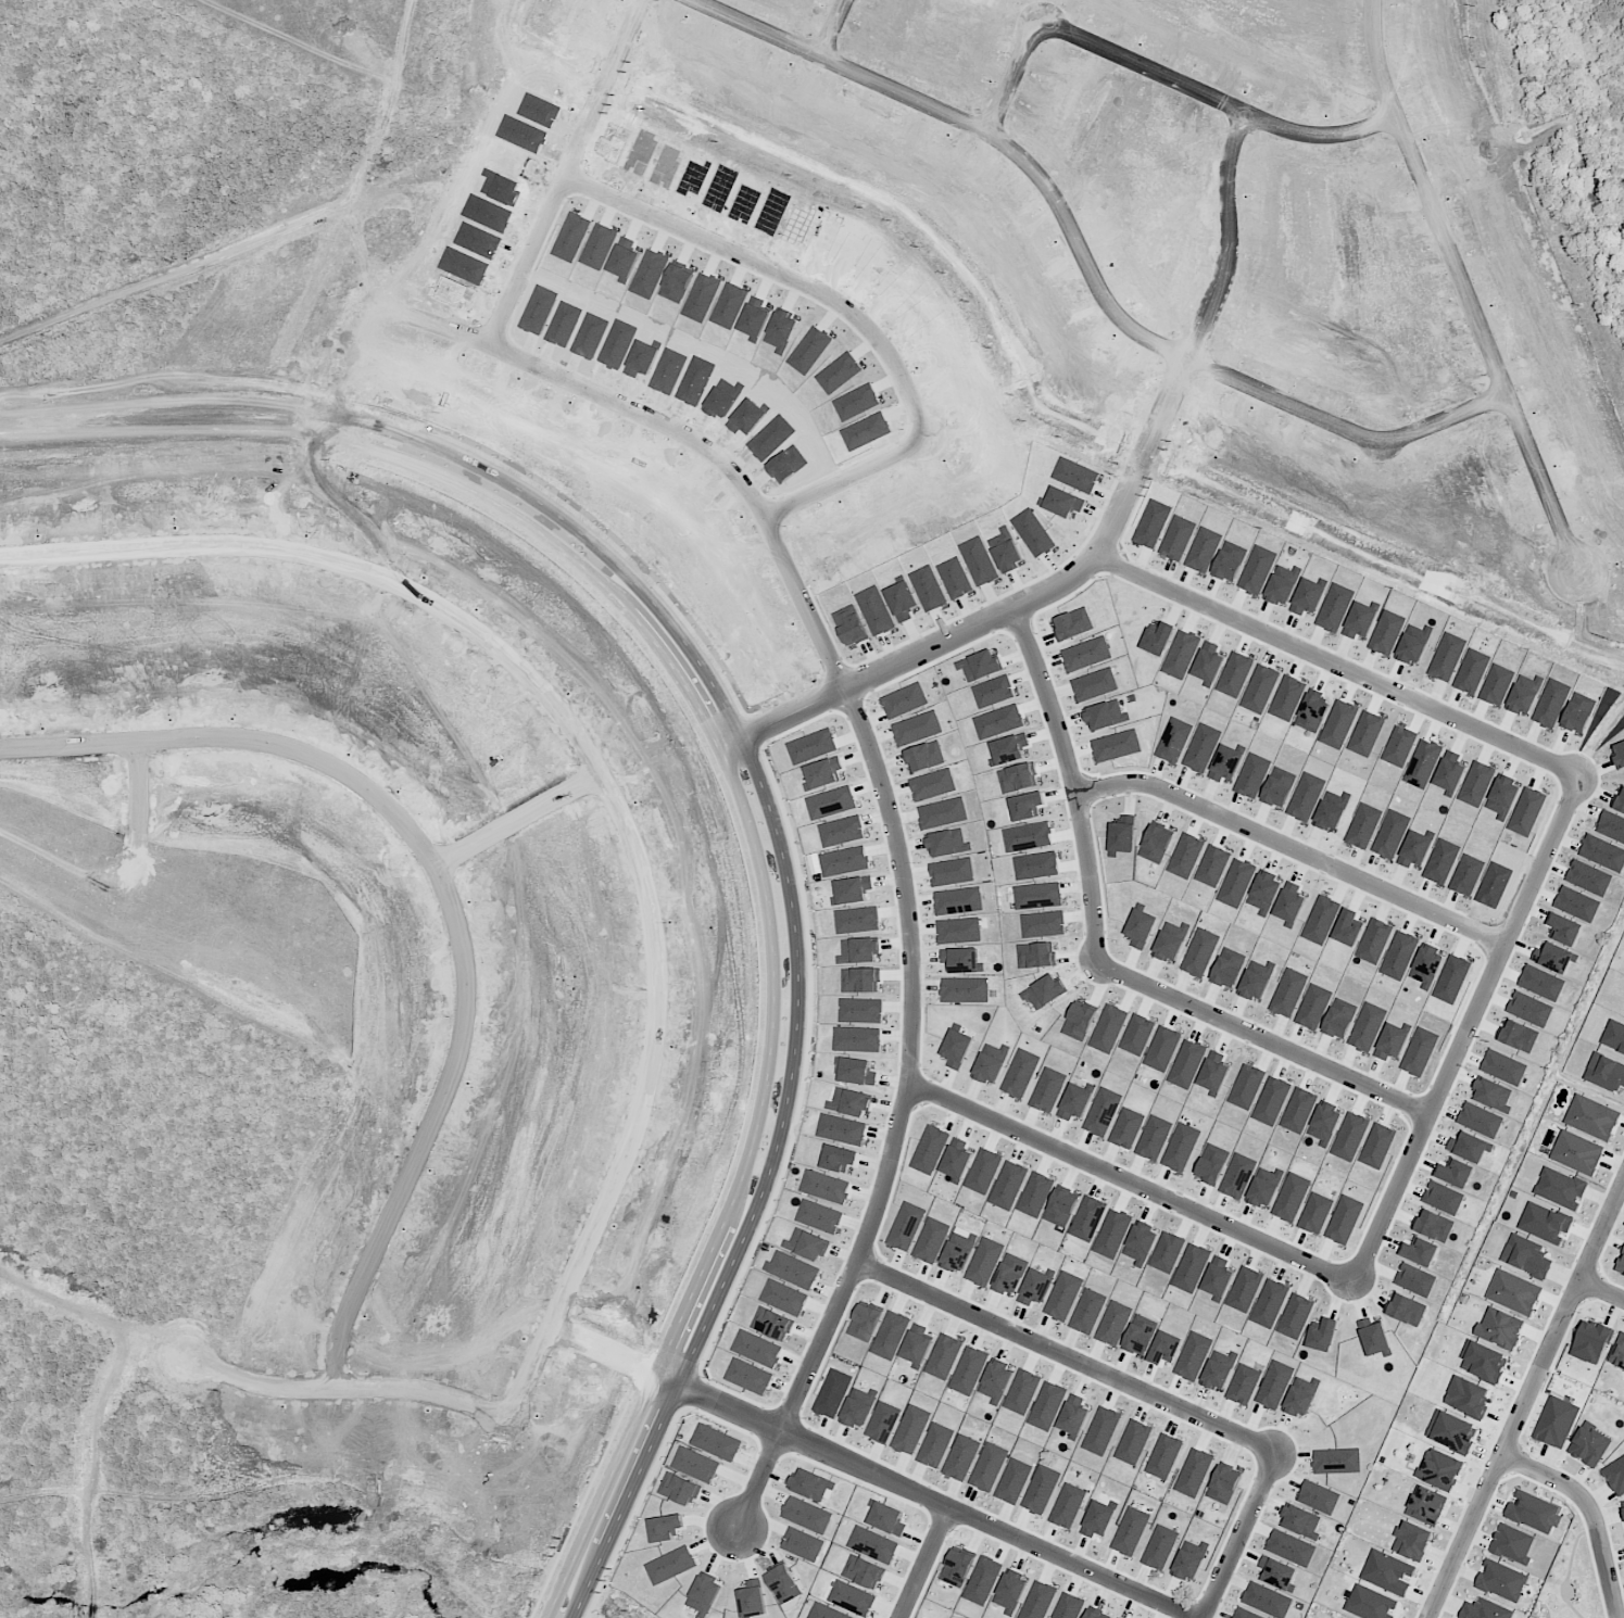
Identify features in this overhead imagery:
road: (162, 20)
road: (423, 22)
road: (11, 25)
road: (846, 30)
road: (1028, 81)
road: (1223, 105)
road: (155, 160)
road: (356, 165)
road: (581, 175)
road: (1098, 261)
road: (1475, 290)
road: (868, 324)
road: (438, 445)
road: (423, 469)
road: (1122, 544)
road: (827, 627)
road: (1349, 669)
road: (602, 769)
road: (1086, 788)
road: (511, 806)
road: (1302, 852)
road: (443, 898)
road: (196, 935)
road: (91, 952)
road: (1476, 1031)
building: (1614, 1036)
road: (1277, 1045)
building: (1604, 1072)
building: (1591, 1117)
building: (1577, 1152)
road: (206, 1155)
building: (826, 1187)
building: (1560, 1188)
road: (1146, 1189)
road: (778, 1192)
road: (748, 1198)
building: (819, 1215)
building: (1544, 1223)
building: (906, 1226)
building: (931, 1240)
building: (806, 1244)
building: (958, 1251)
building: (1526, 1255)
building: (984, 1262)
building: (1621, 1264)
building: (793, 1271)
building: (1009, 1274)
road: (1606, 1286)
building: (1035, 1287)
building: (1513, 1292)
building: (1062, 1295)
building: (784, 1298)
building: (1087, 1311)
building: (865, 1322)
building: (1113, 1323)
building: (772, 1324)
building: (1500, 1327)
building: (890, 1335)
building: (1140, 1335)
building: (1590, 1341)
building: (917, 1344)
building: (1166, 1347)
road: (612, 1348)
building: (757, 1349)
building: (1619, 1351)
building: (943, 1356)
building: (1193, 1356)
building: (1483, 1361)
road: (1082, 1364)
building: (1219, 1369)
building: (968, 1370)
building: (748, 1376)
road: (242, 1378)
building: (995, 1381)
building: (1243, 1383)
building: (1274, 1385)
building: (1308, 1385)
building: (1021, 1391)
building: (832, 1393)
building: (1466, 1396)
building: (1298, 1402)
building: (1046, 1406)
road: (1528, 1406)
building: (858, 1407)
building: (1073, 1415)
building: (882, 1421)
building: (1556, 1421)
building: (910, 1429)
building: (1101, 1430)
building: (1451, 1431)
building: (716, 1442)
building: (1133, 1442)
building: (934, 1445)
building: (1588, 1445)
building: (1163, 1456)
building: (961, 1457)
building: (1337, 1461)
building: (695, 1464)
building: (989, 1467)
building: (1439, 1469)
building: (1194, 1472)
building: (1614, 1475)
building: (1012, 1481)
building: (811, 1484)
building: (1223, 1484)
building: (679, 1489)
building: (1041, 1489)
building: (1319, 1496)
road: (931, 1501)
building: (1426, 1504)
building: (1068, 1505)
road: (1596, 1506)
building: (1623, 1507)
building: (1534, 1512)
building: (807, 1515)
building: (887, 1518)
building: (1098, 1519)
building: (1300, 1521)
building: (665, 1527)
building: (1131, 1531)
road: (1255, 1539)
building: (1411, 1541)
building: (1512, 1543)
building: (802, 1544)
building: (873, 1544)
building: (1291, 1546)
building: (1160, 1547)
building: (1191, 1559)
building: (670, 1565)
road: (941, 1567)
building: (957, 1567)
building: (864, 1571)
building: (1388, 1572)
building: (1277, 1573)
building: (982, 1580)
building: (1501, 1580)
building: (783, 1583)
building: (1010, 1591)
building: (704, 1594)
building: (852, 1597)
building: (752, 1598)
building: (1267, 1600)
building: (1038, 1601)
building: (1370, 1603)
building: (1068, 1606)
building: (1485, 1609)
building: (826, 1611)
building: (1245, 1614)
building: (1094, 1615)
building: (920, 1617)
building: (1118, 1617)

